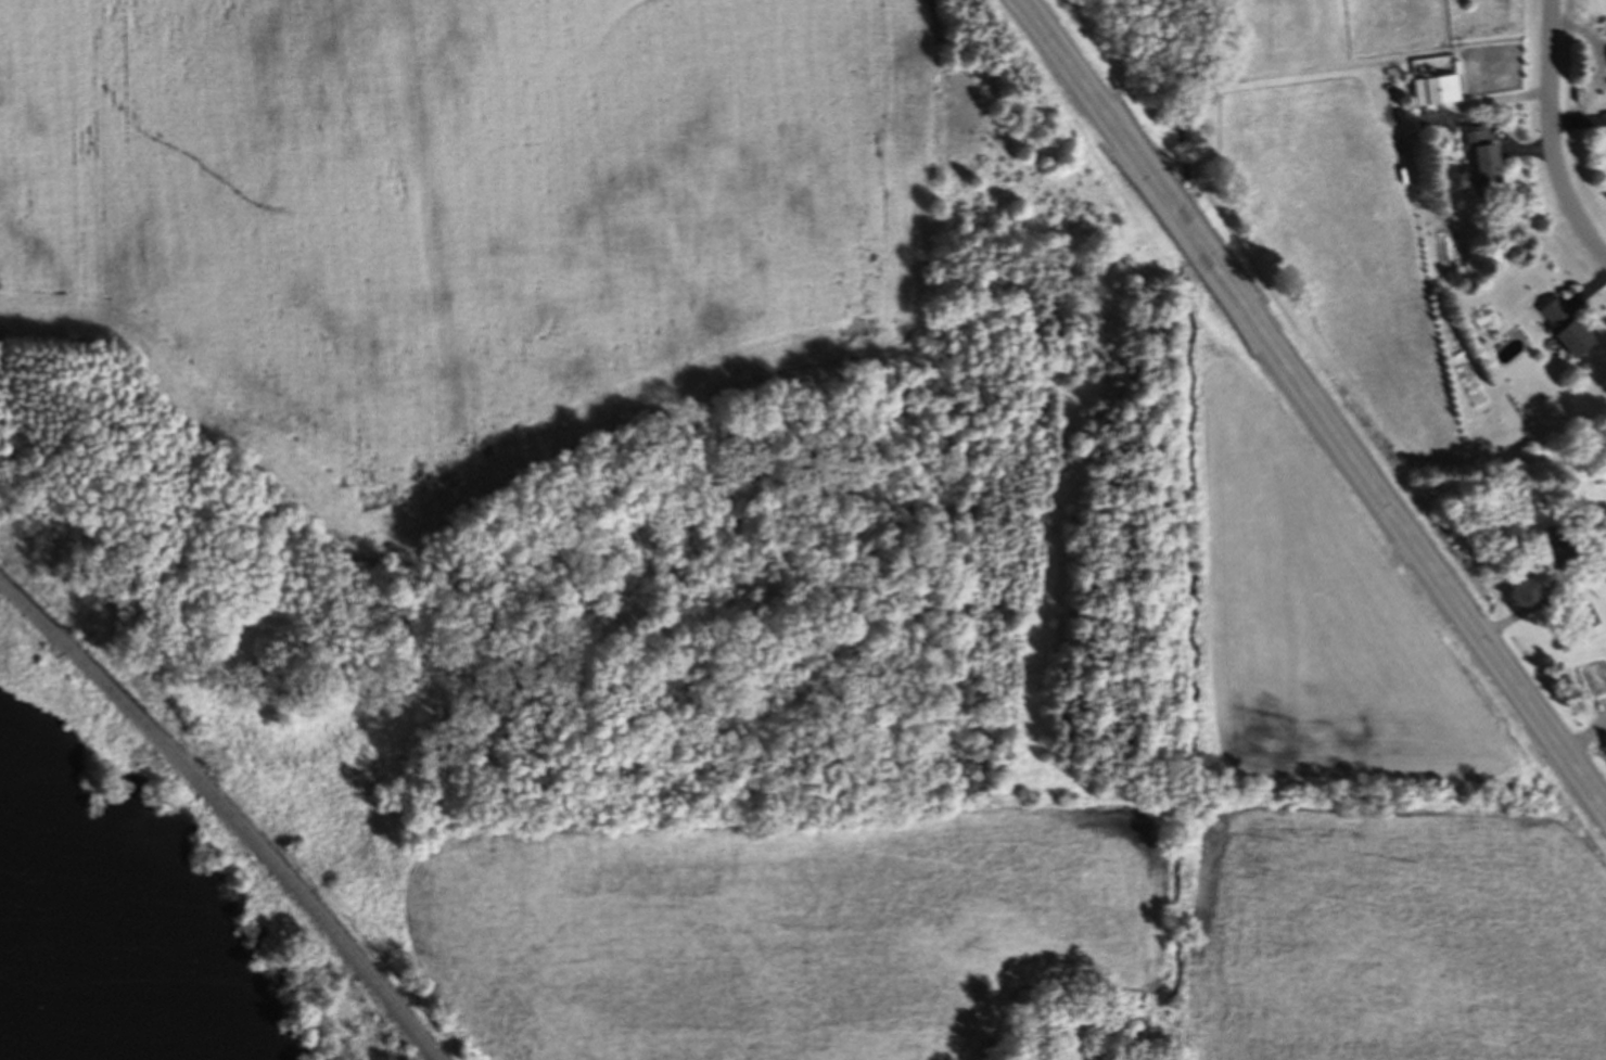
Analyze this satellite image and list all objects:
building: (1435, 93)
road: (1553, 135)
building: (1476, 165)
building: (1560, 332)
road: (1315, 405)
building: (1582, 623)
railway: (226, 817)

